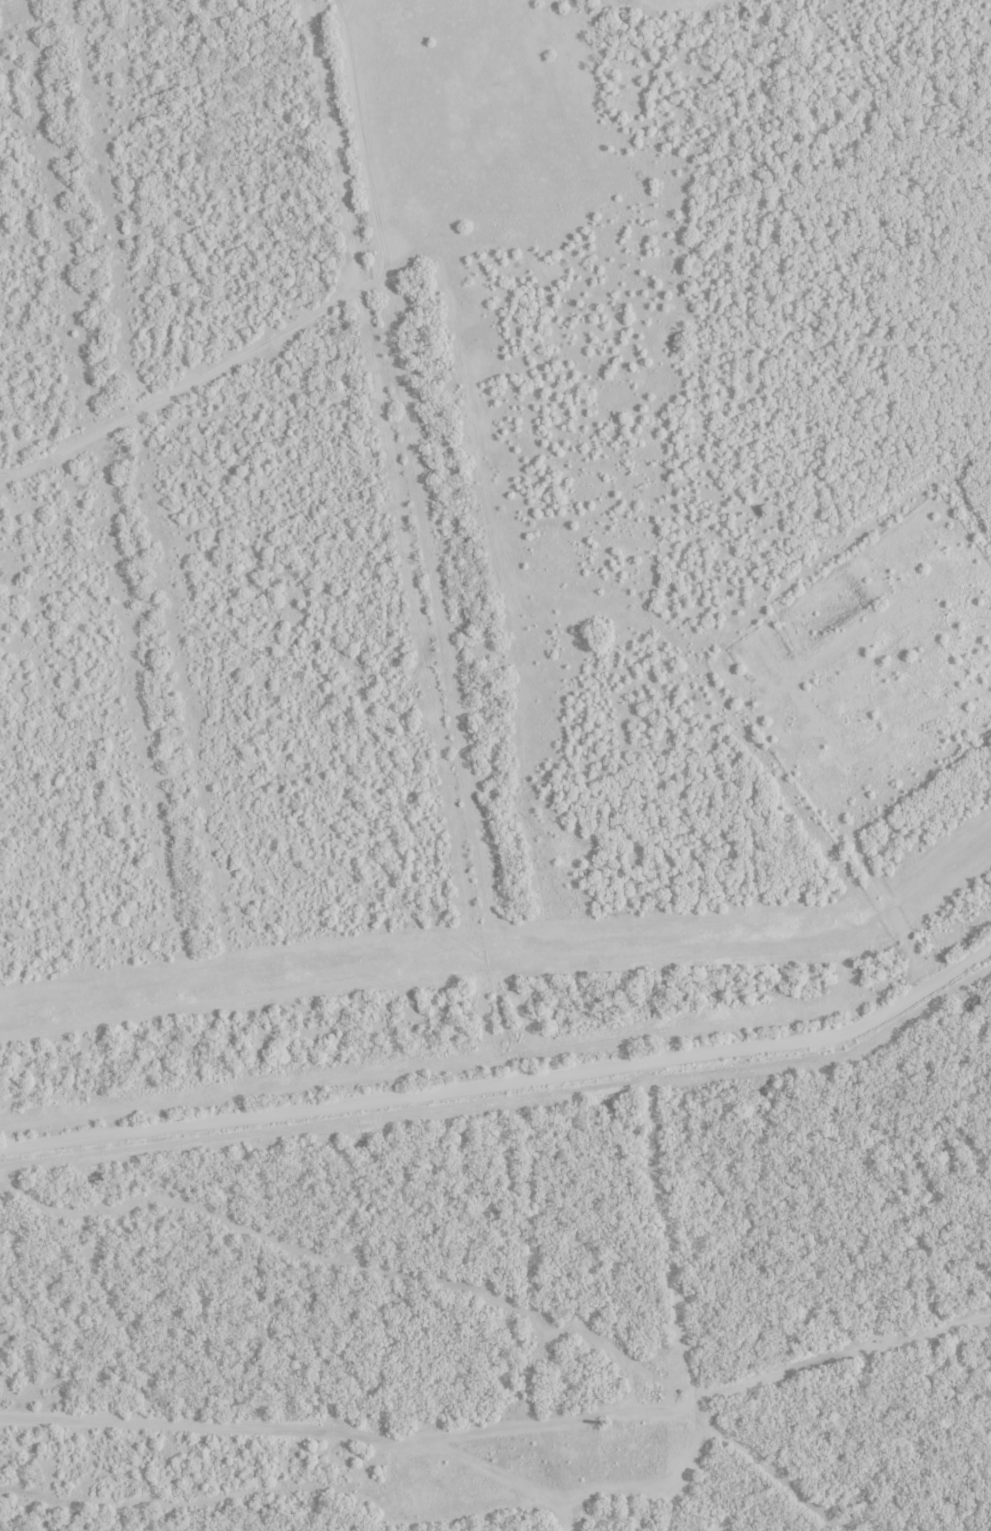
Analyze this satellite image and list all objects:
road: (506, 1081)

